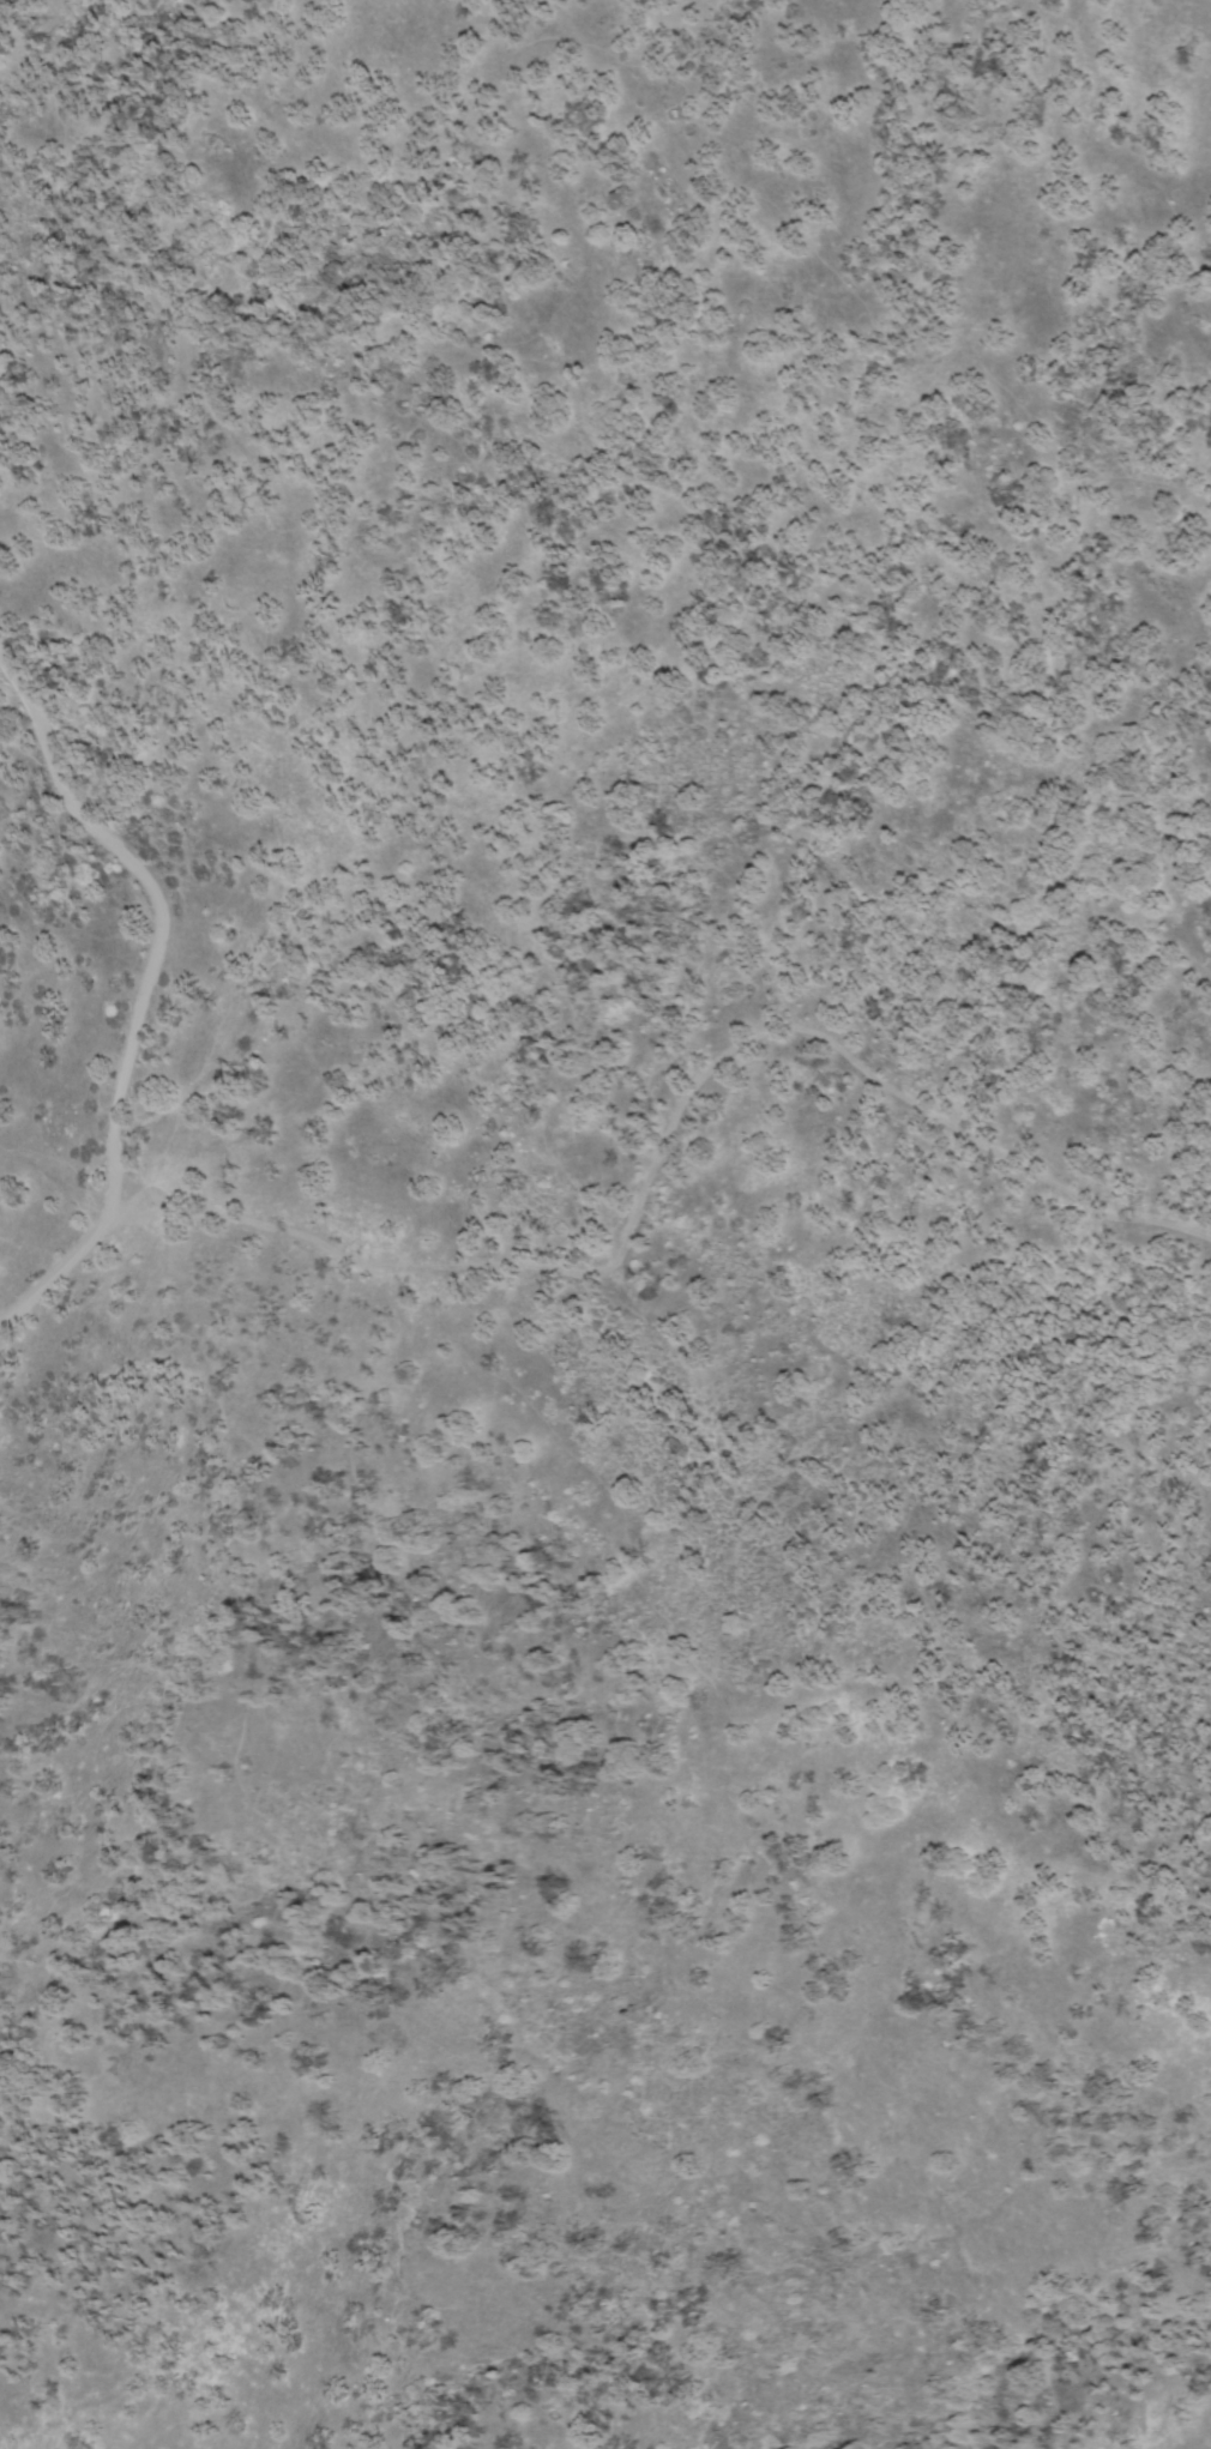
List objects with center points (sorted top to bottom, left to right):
road: (146, 989)

